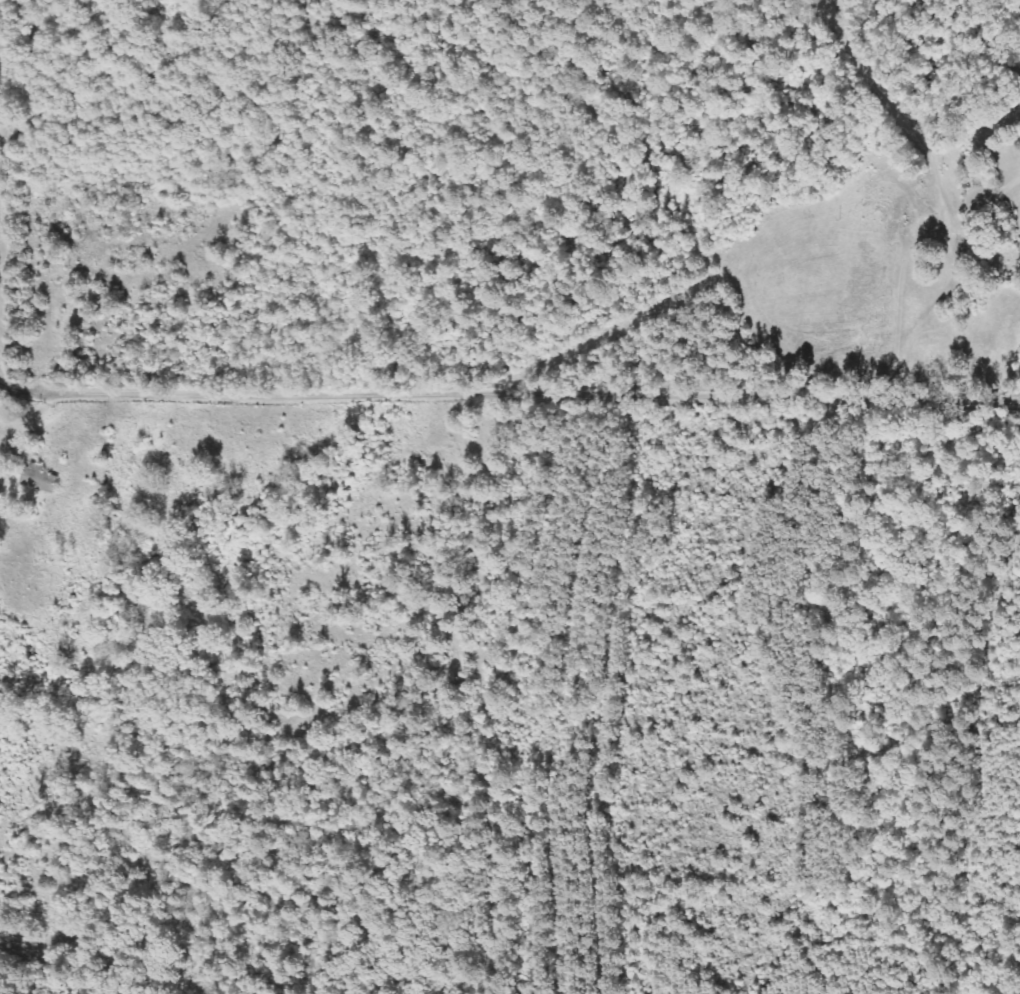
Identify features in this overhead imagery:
road: (510, 419)
building: (40, 479)
road: (479, 678)

